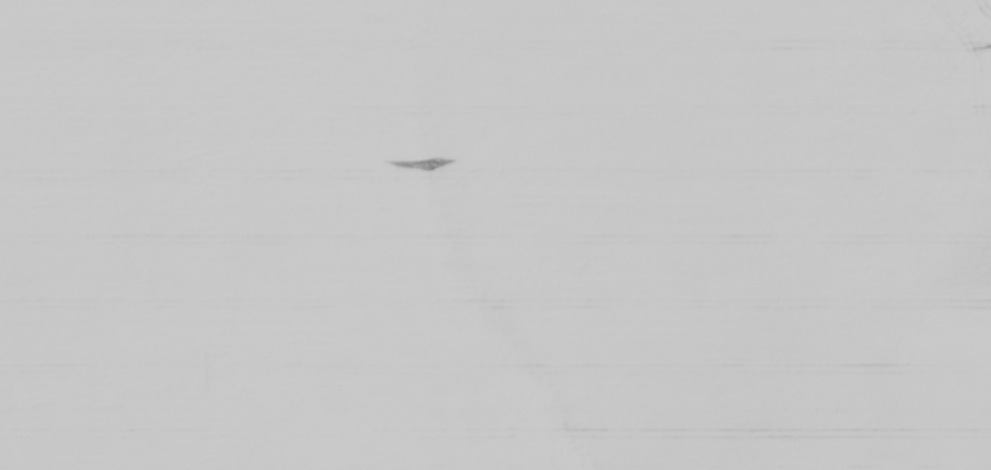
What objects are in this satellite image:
crop: (495, 235)

